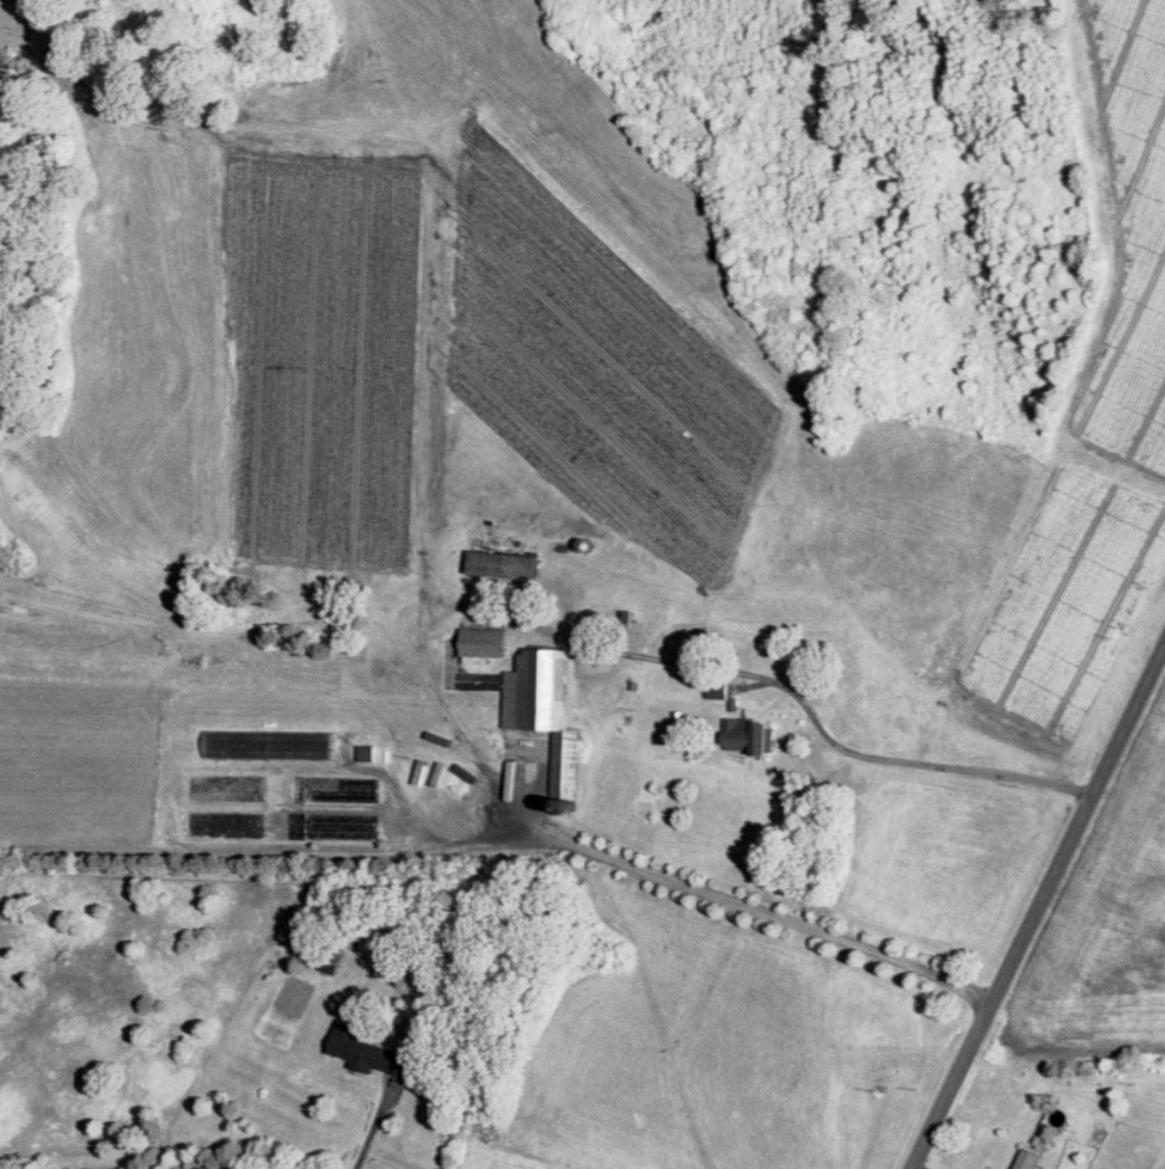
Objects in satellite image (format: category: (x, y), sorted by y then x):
building: (505, 563)
building: (485, 639)
road: (425, 671)
building: (718, 687)
building: (546, 706)
building: (749, 733)
building: (367, 751)
road: (900, 761)
road: (275, 853)
road: (1037, 905)
road: (773, 913)
building: (369, 1049)
road: (373, 1125)
building: (1028, 1158)
road: (919, 1167)

